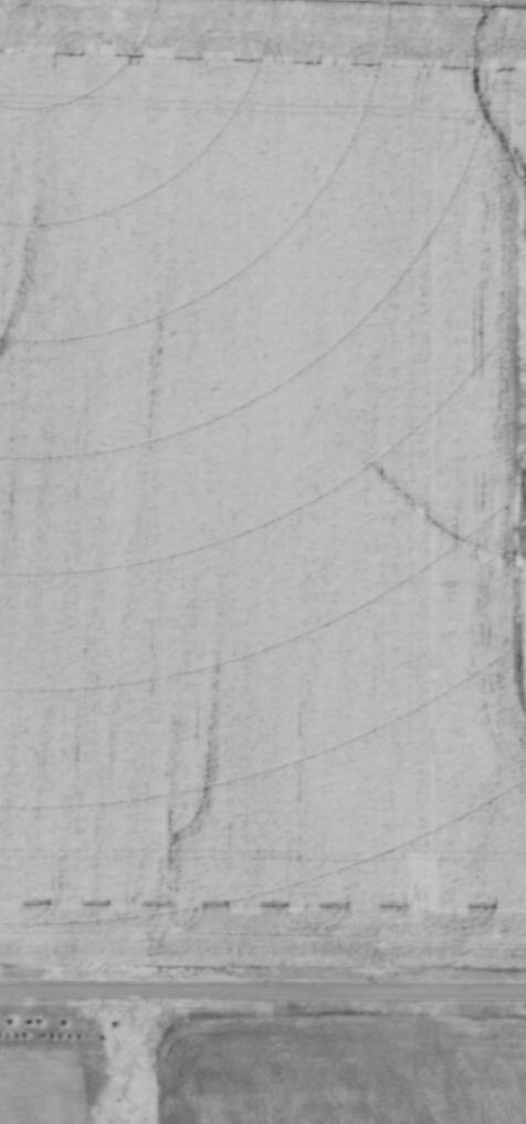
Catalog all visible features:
road: (262, 993)

